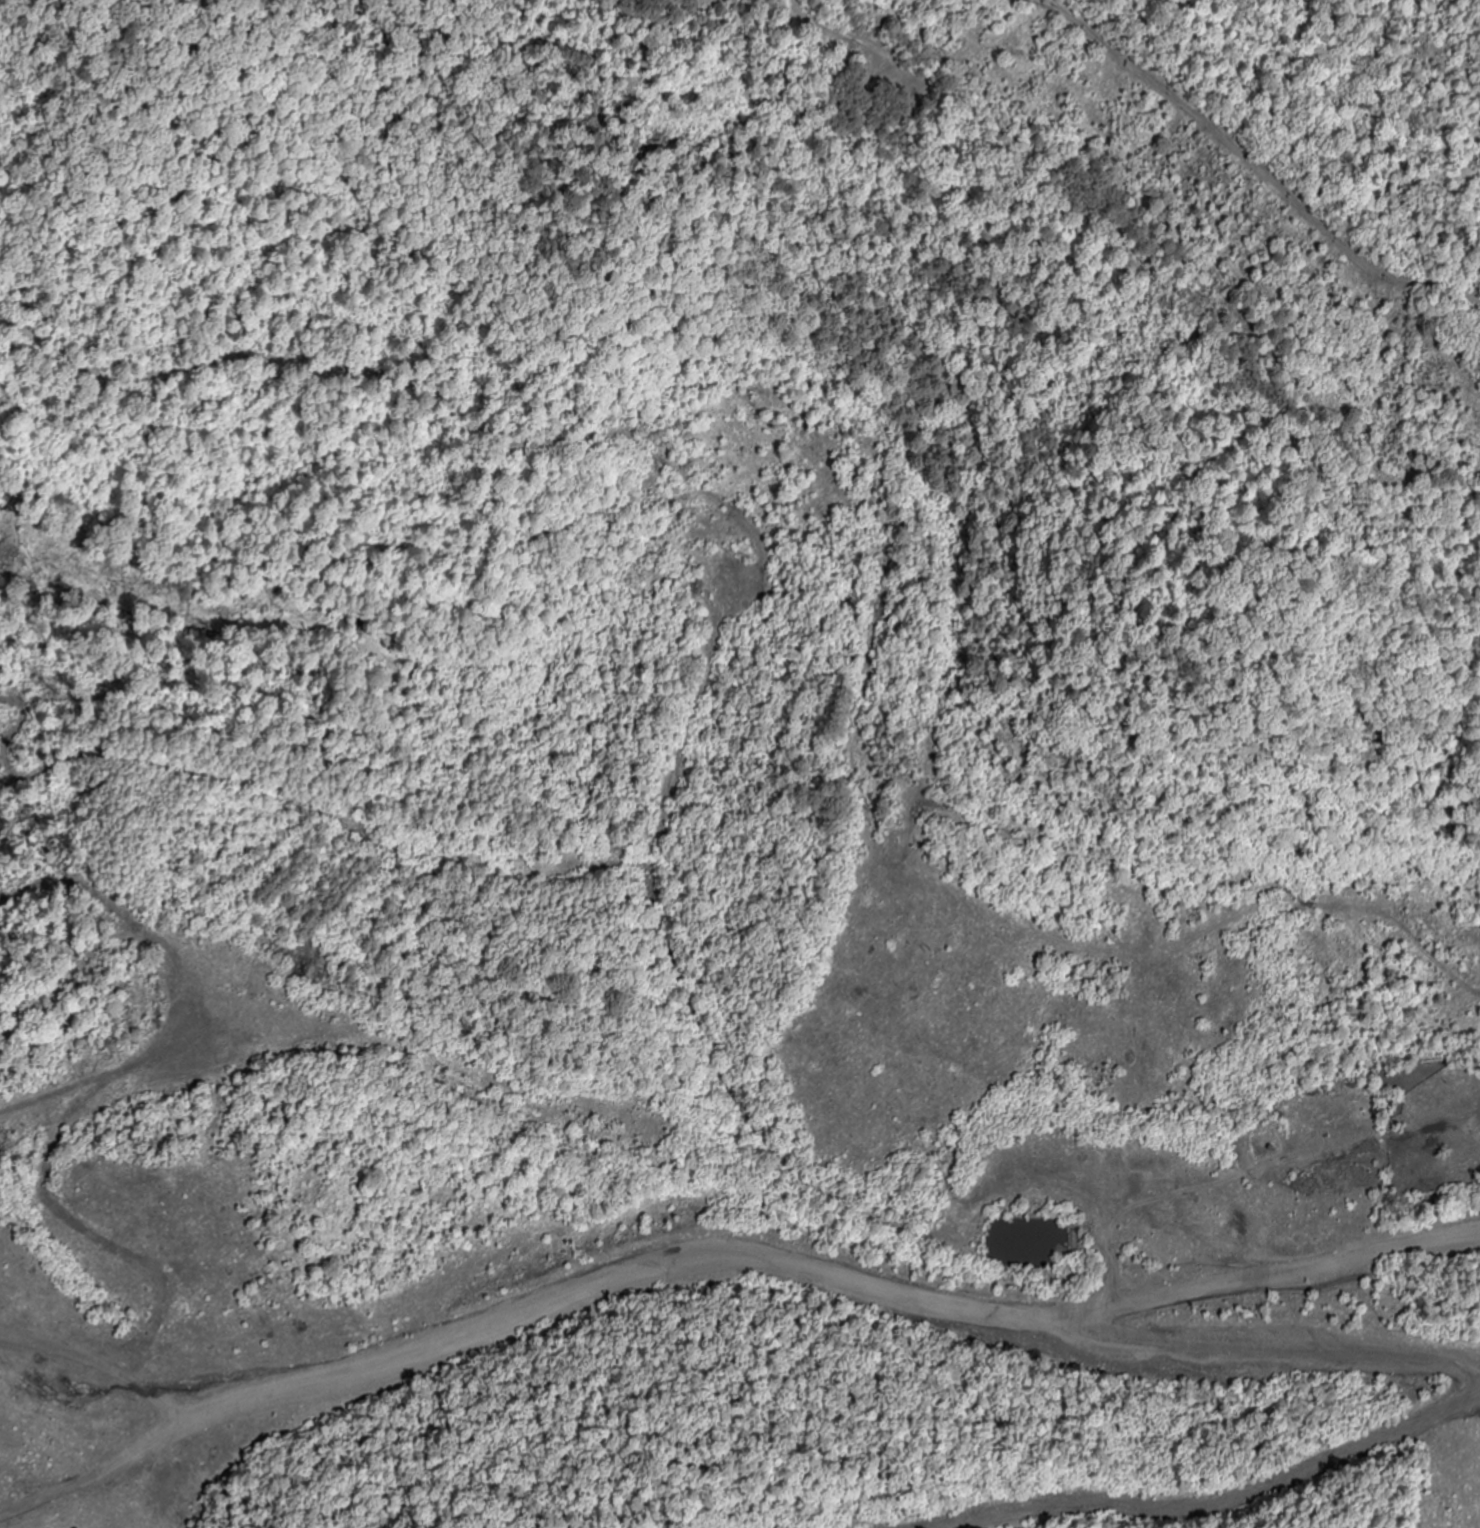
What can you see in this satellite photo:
building: (1059, 1331)

